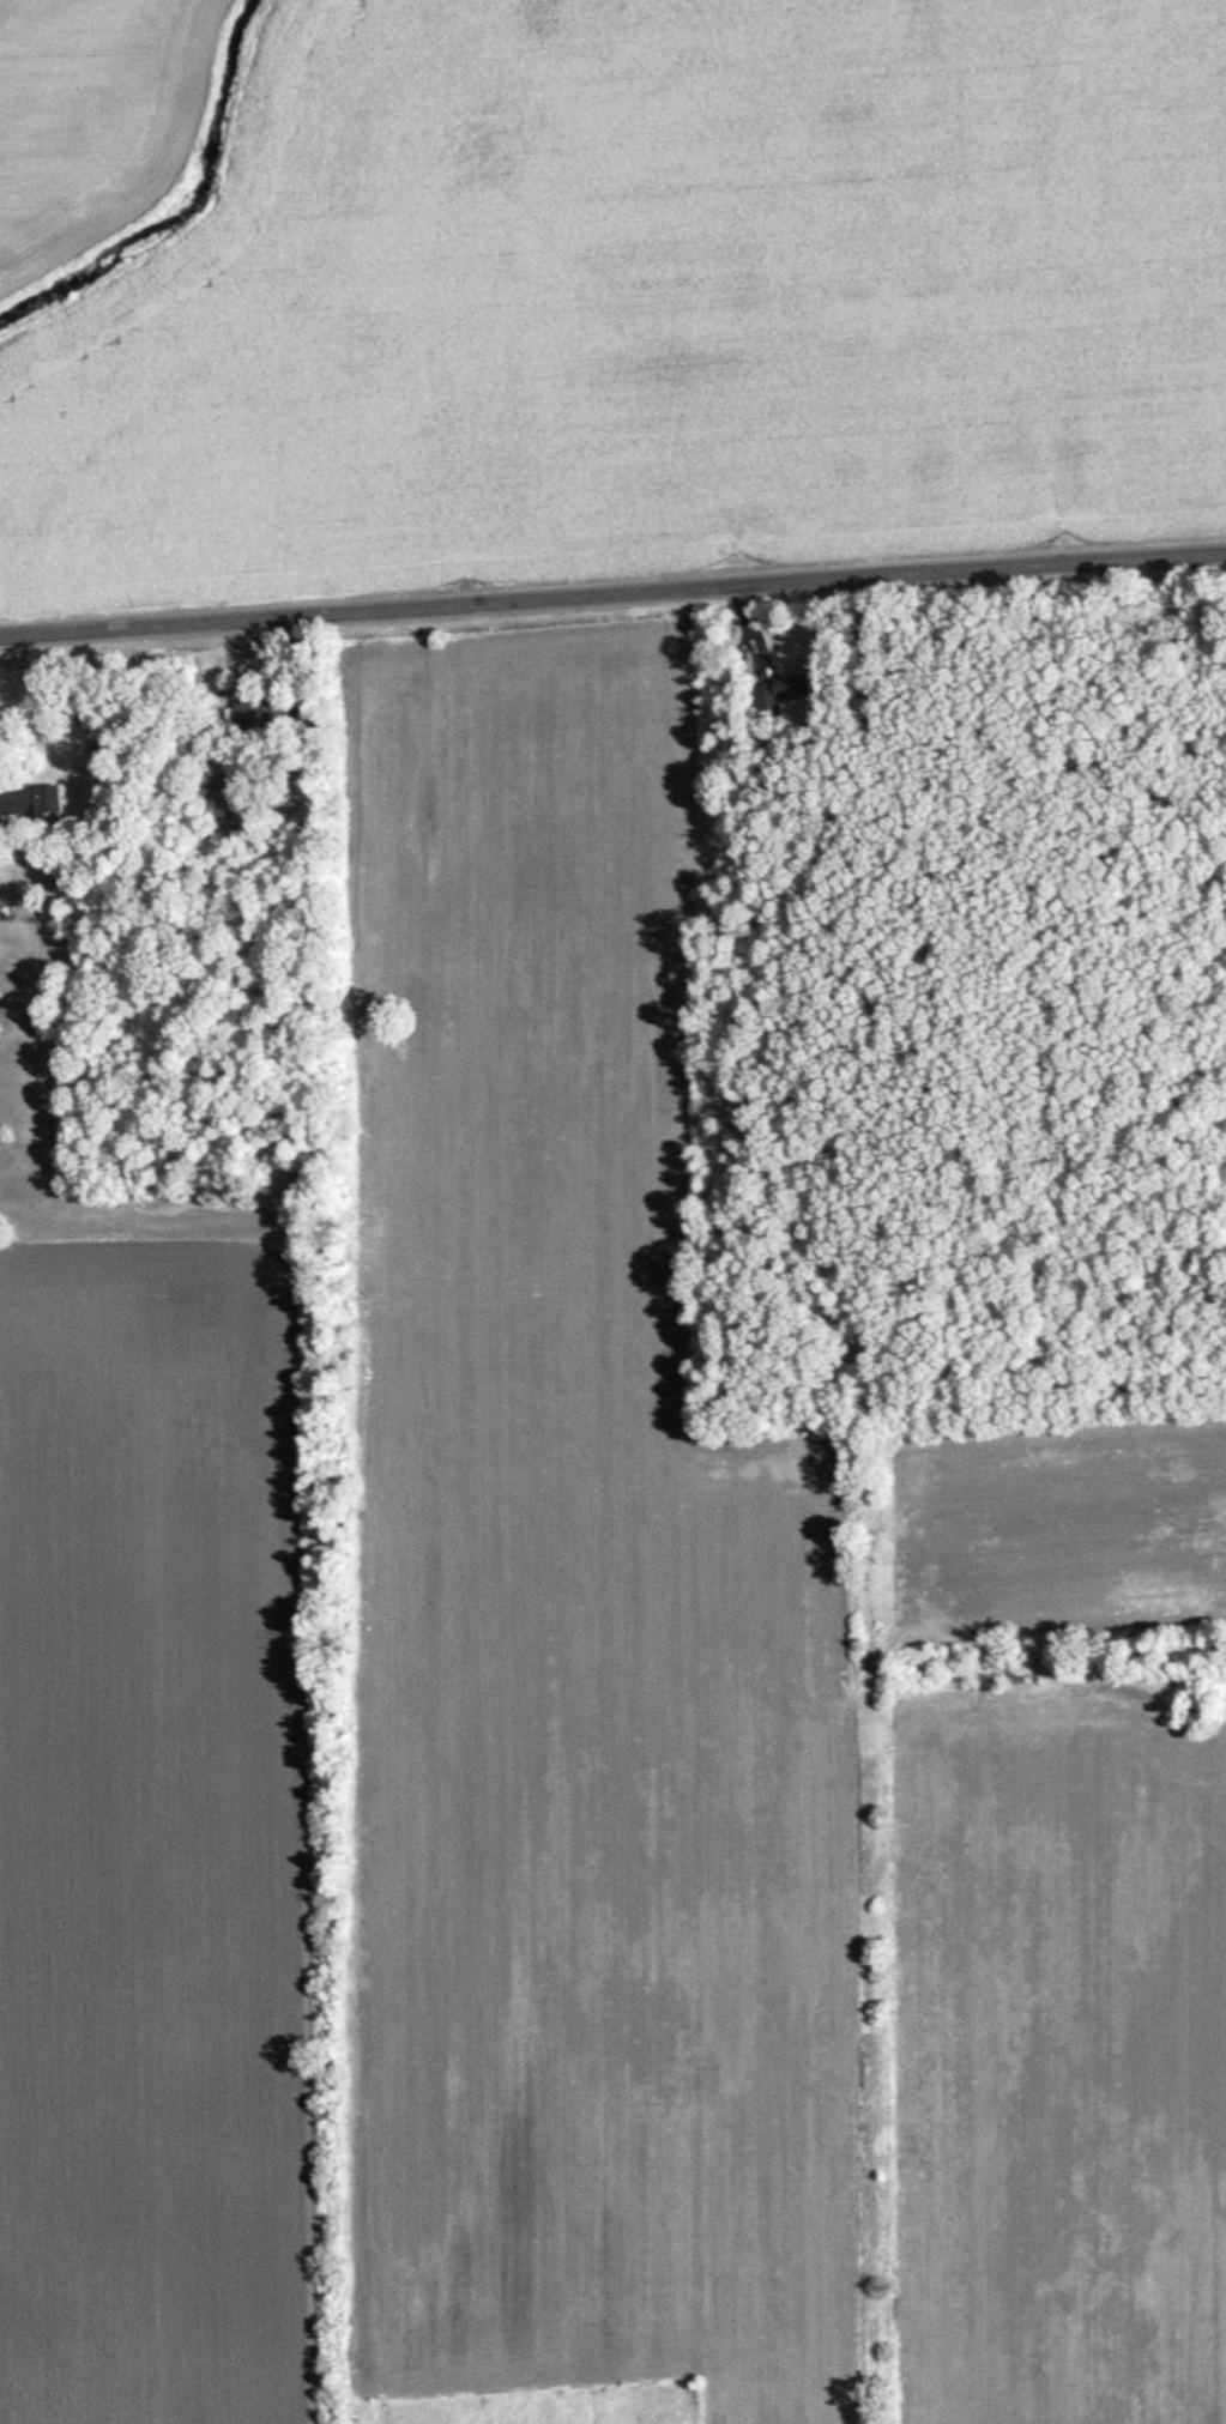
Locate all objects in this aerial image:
road: (612, 594)
building: (795, 687)
building: (273, 712)
building: (32, 800)

